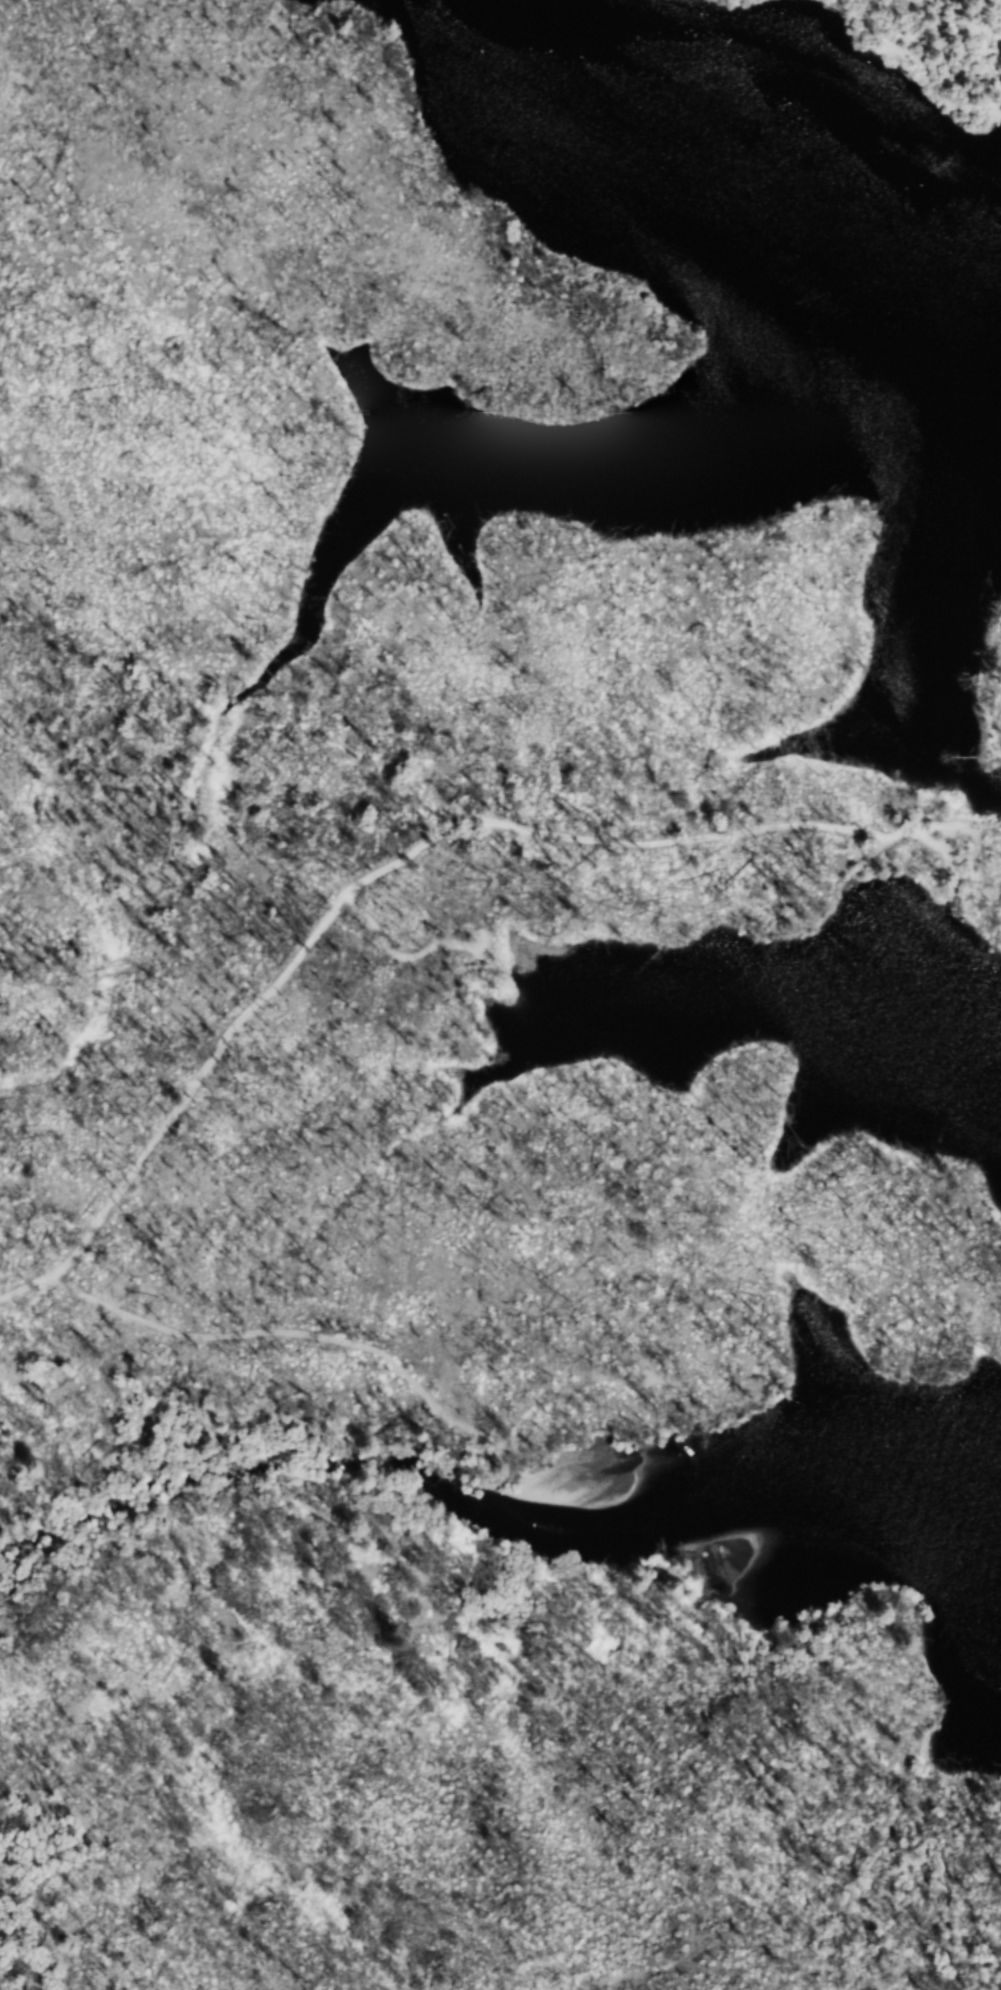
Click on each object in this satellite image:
road: (360, 888)

